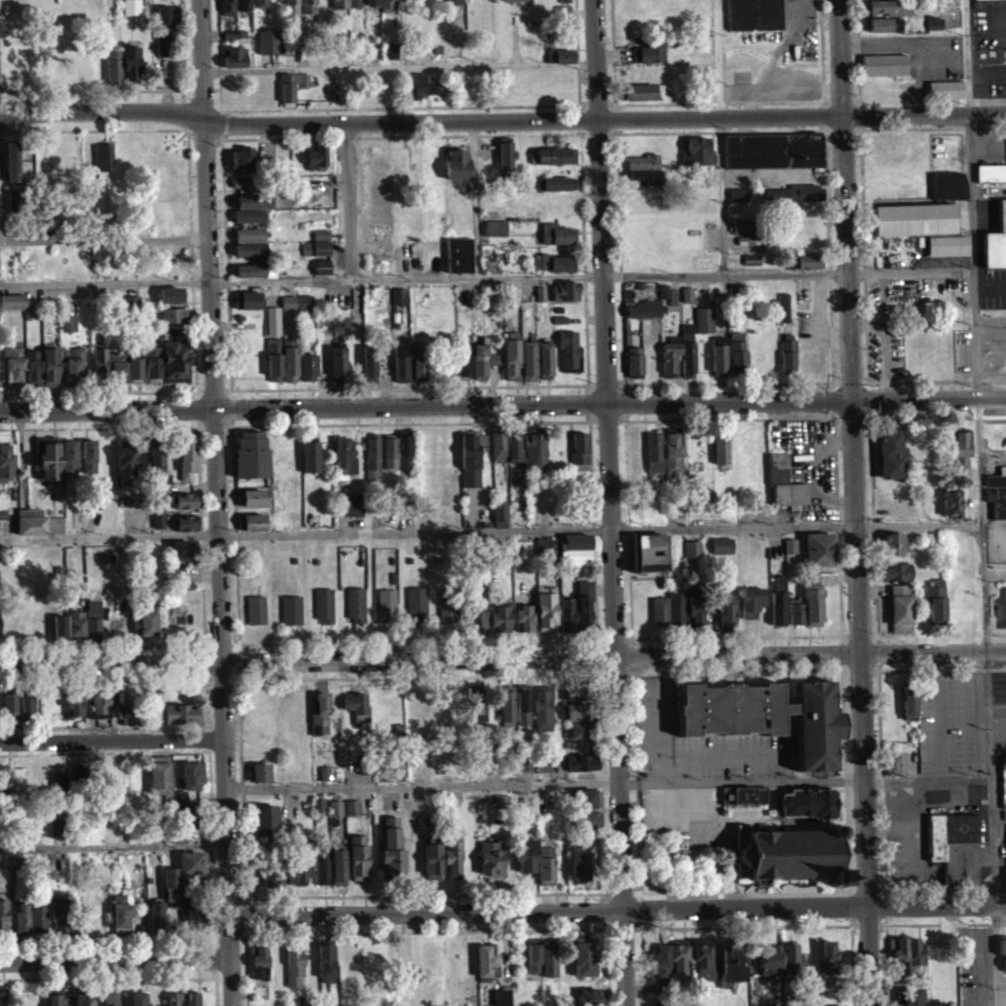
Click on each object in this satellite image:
building: (564, 1)
building: (988, 3)
building: (515, 4)
building: (258, 6)
building: (452, 6)
building: (345, 7)
building: (381, 8)
building: (243, 9)
building: (226, 11)
building: (290, 11)
building: (307, 13)
building: (130, 14)
road: (796, 15)
building: (887, 15)
building: (752, 18)
building: (933, 31)
building: (884, 32)
building: (164, 37)
building: (267, 49)
building: (389, 58)
road: (716, 60)
building: (647, 61)
building: (558, 63)
building: (234, 65)
building: (130, 69)
building: (882, 72)
building: (112, 73)
road: (780, 84)
building: (291, 92)
road: (734, 92)
building: (418, 93)
building: (944, 97)
building: (640, 99)
road: (17, 111)
road: (17, 116)
road: (519, 120)
building: (771, 158)
building: (696, 160)
building: (102, 161)
building: (505, 163)
building: (550, 164)
building: (315, 165)
building: (240, 167)
building: (10, 169)
building: (455, 172)
building: (642, 177)
building: (990, 181)
building: (241, 191)
building: (553, 191)
building: (947, 193)
road: (720, 197)
building: (793, 201)
road: (349, 204)
building: (14, 209)
building: (253, 210)
building: (248, 223)
building: (913, 227)
building: (740, 234)
building: (493, 236)
road: (103, 238)
building: (248, 242)
building: (320, 242)
building: (556, 242)
building: (746, 248)
building: (995, 248)
building: (946, 253)
building: (315, 255)
building: (248, 258)
building: (458, 262)
building: (749, 266)
building: (806, 269)
building: (555, 271)
building: (320, 274)
road: (726, 275)
building: (249, 278)
road: (406, 287)
road: (104, 291)
building: (564, 299)
building: (170, 302)
building: (398, 304)
building: (245, 308)
building: (287, 310)
building: (304, 310)
building: (18, 312)
building: (783, 315)
building: (642, 317)
building: (173, 323)
building: (703, 327)
building: (67, 331)
building: (568, 359)
building: (787, 360)
building: (679, 361)
building: (736, 364)
building: (511, 367)
building: (407, 368)
building: (472, 368)
building: (527, 368)
building: (543, 368)
building: (717, 368)
building: (634, 369)
building: (98, 370)
building: (173, 370)
building: (12, 371)
building: (289, 371)
building: (337, 371)
building: (368, 371)
building: (811, 371)
building: (151, 372)
building: (32, 373)
building: (72, 373)
building: (49, 375)
building: (273, 375)
building: (306, 375)
building: (133, 377)
building: (118, 378)
road: (853, 389)
road: (607, 390)
traffic signals: (854, 398)
road: (514, 403)
road: (12, 410)
road: (12, 413)
building: (513, 453)
building: (497, 454)
building: (959, 454)
building: (719, 455)
building: (534, 456)
building: (388, 460)
building: (403, 460)
building: (653, 460)
building: (250, 462)
building: (672, 462)
building: (343, 463)
building: (890, 463)
building: (309, 464)
building: (48, 465)
building: (68, 465)
building: (87, 465)
building: (185, 465)
building: (372, 465)
building: (469, 466)
building: (125, 467)
building: (6, 470)
building: (155, 470)
building: (783, 490)
building: (996, 501)
road: (216, 502)
building: (250, 505)
building: (897, 507)
building: (185, 509)
building: (951, 511)
building: (349, 513)
building: (159, 519)
building: (31, 520)
building: (499, 520)
building: (252, 521)
building: (188, 522)
building: (157, 528)
road: (491, 529)
building: (184, 530)
building: (250, 530)
building: (891, 542)
building: (545, 544)
building: (722, 544)
building: (791, 545)
building: (693, 547)
building: (184, 549)
building: (575, 549)
building: (819, 549)
building: (651, 553)
building: (721, 553)
building: (789, 554)
building: (109, 556)
building: (475, 556)
building: (544, 556)
building: (180, 557)
building: (691, 557)
building: (895, 571)
building: (176, 572)
building: (935, 598)
building: (752, 600)
building: (416, 601)
building: (778, 601)
building: (355, 603)
building: (448, 603)
building: (325, 604)
building: (387, 604)
building: (813, 605)
building: (585, 607)
building: (676, 607)
building: (901, 607)
building: (257, 608)
building: (292, 608)
building: (727, 608)
building: (546, 610)
building: (660, 610)
building: (796, 610)
building: (477, 611)
building: (695, 611)
building: (568, 613)
building: (500, 614)
building: (524, 616)
building: (147, 617)
building: (93, 620)
building: (795, 621)
building: (76, 624)
building: (60, 628)
road: (448, 639)
road: (876, 642)
road: (503, 656)
road: (206, 672)
road: (421, 675)
building: (579, 691)
building: (573, 701)
building: (909, 701)
building: (74, 702)
building: (100, 702)
road: (843, 702)
road: (987, 702)
building: (477, 703)
building: (507, 704)
building: (523, 704)
road: (599, 704)
road: (634, 704)
building: (27, 705)
road: (239, 706)
building: (357, 706)
building: (11, 707)
building: (543, 708)
building: (732, 710)
building: (129, 712)
building: (183, 712)
building: (580, 712)
building: (320, 714)
building: (576, 720)
building: (180, 722)
building: (127, 723)
road: (103, 725)
building: (816, 725)
building: (582, 729)
building: (578, 737)
road: (112, 739)
road: (104, 749)
building: (525, 762)
building: (370, 763)
building: (581, 763)
building: (510, 764)
building: (893, 764)
building: (325, 771)
building: (581, 771)
building: (81, 772)
building: (259, 772)
building: (524, 772)
building: (193, 774)
building: (369, 774)
building: (160, 775)
road: (927, 778)
building: (4, 779)
road: (742, 780)
building: (59, 781)
road: (422, 784)
building: (1003, 793)
building: (744, 794)
building: (586, 798)
building: (502, 800)
building: (319, 803)
building: (743, 803)
building: (809, 804)
building: (335, 806)
building: (351, 806)
building: (500, 809)
building: (317, 813)
building: (185, 814)
building: (350, 815)
building: (334, 816)
building: (587, 819)
building: (262, 824)
building: (59, 825)
building: (55, 836)
building: (180, 837)
road: (112, 845)
building: (954, 845)
building: (391, 848)
building: (453, 853)
building: (432, 854)
building: (526, 854)
building: (789, 854)
building: (492, 856)
building: (358, 857)
building: (113, 859)
building: (579, 859)
building: (18, 861)
building: (546, 861)
building: (193, 862)
building: (296, 863)
building: (337, 866)
building: (321, 870)
building: (271, 872)
building: (171, 883)
building: (187, 884)
road: (945, 885)
road: (442, 892)
road: (763, 892)
road: (868, 892)
road: (623, 893)
road: (615, 908)
building: (122, 910)
building: (39, 912)
building: (61, 912)
building: (4, 915)
building: (157, 915)
building: (194, 916)
building: (78, 917)
building: (22, 918)
road: (625, 926)
road: (122, 939)
road: (887, 946)
building: (1003, 951)
building: (534, 955)
building: (898, 955)
road: (112, 956)
road: (212, 956)
building: (584, 956)
building: (914, 956)
building: (678, 957)
building: (703, 957)
building: (828, 958)
building: (326, 959)
building: (768, 959)
building: (548, 960)
building: (659, 960)
building: (732, 960)
building: (790, 960)
building: (258, 961)
building: (294, 963)
building: (486, 963)
road: (108, 976)
building: (662, 985)
building: (259, 988)
road: (216, 990)
building: (912, 996)
building: (502, 997)
building: (588, 997)
building: (3, 998)
building: (112, 998)
building: (53, 999)
building: (84, 999)
building: (140, 999)
building: (173, 999)
building: (192, 999)
building: (660, 1003)

